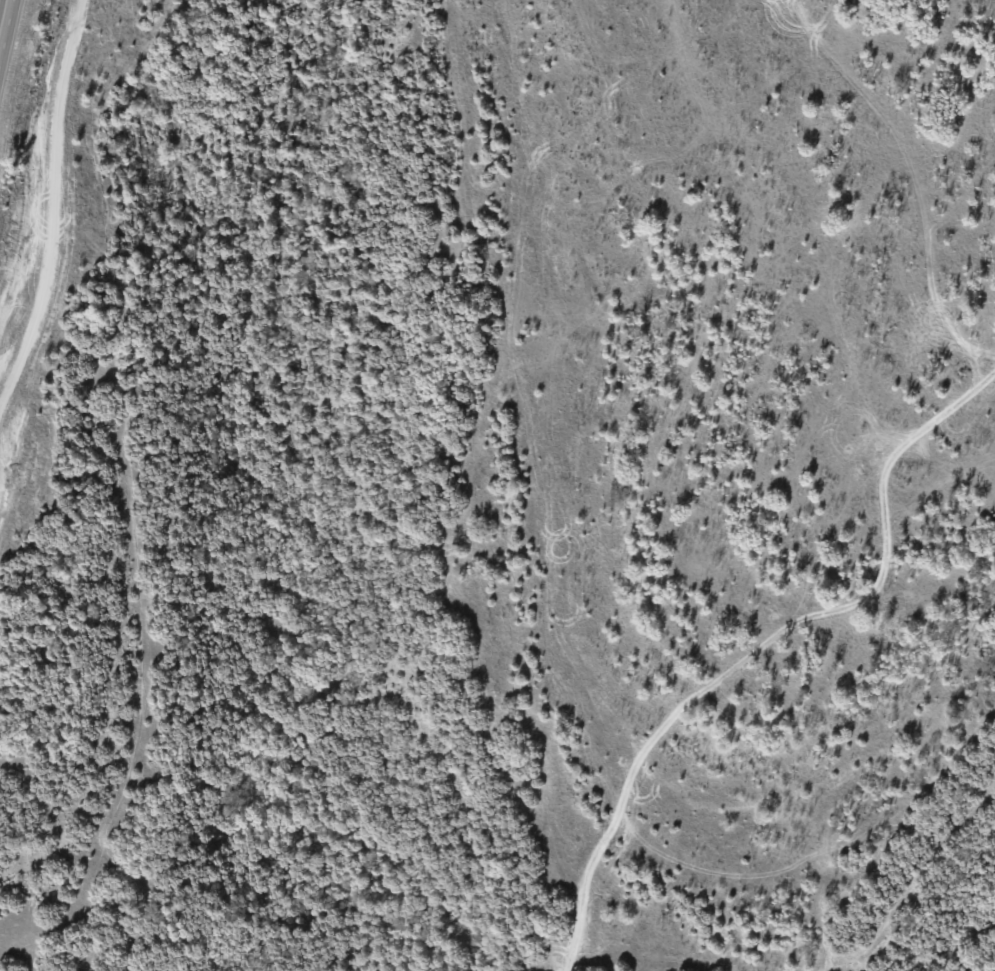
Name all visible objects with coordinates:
road: (2, 13)
road: (50, 194)

